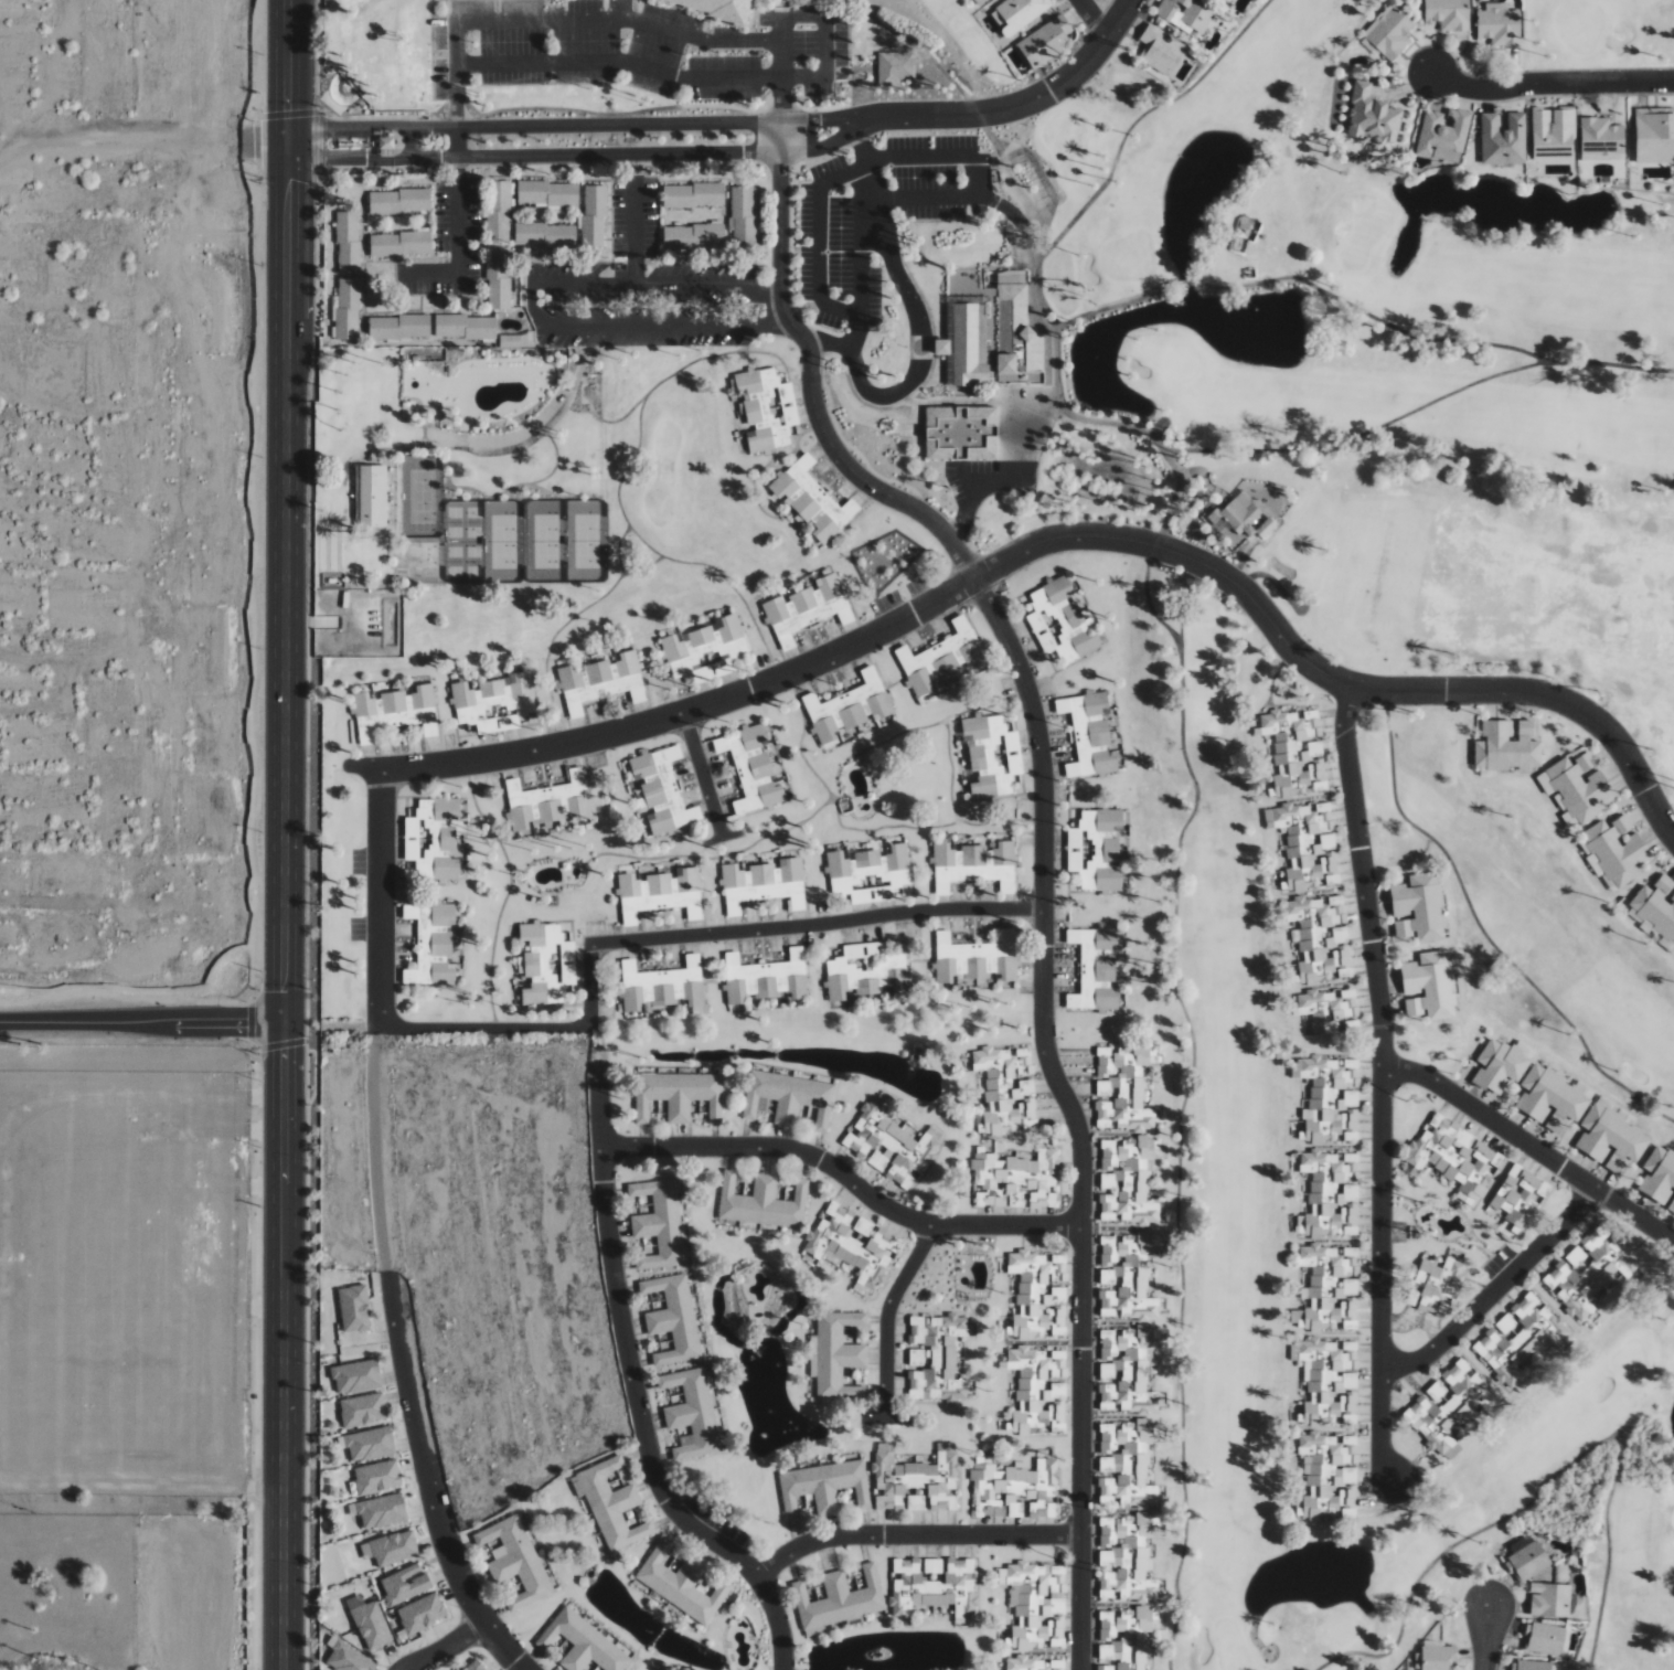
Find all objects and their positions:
building: (980, 1)
building: (1225, 2)
building: (719, 9)
building: (1017, 13)
building: (1448, 13)
building: (1186, 14)
road: (1092, 18)
road: (620, 19)
building: (1499, 24)
road: (825, 28)
building: (1390, 33)
park: (1597, 33)
building: (1046, 41)
parking lot: (635, 47)
road: (921, 49)
building: (1161, 49)
road: (641, 67)
building: (894, 67)
road: (782, 70)
road: (288, 78)
road: (1550, 83)
fountain: (346, 87)
road: (1034, 99)
traffic signals: (288, 108)
building: (1372, 116)
road: (838, 117)
road: (1140, 118)
road: (769, 123)
road: (556, 126)
road: (323, 130)
traffic signals: (326, 130)
building: (1443, 130)
building: (384, 134)
road: (392, 134)
building: (1553, 134)
building: (1654, 135)
road: (839, 139)
building: (1503, 139)
flagpole: (355, 140)
building: (384, 143)
flagpole: (355, 145)
road: (457, 148)
flagpole: (355, 149)
road: (769, 152)
building: (384, 153)
road: (393, 153)
road: (557, 155)
road: (934, 156)
road: (323, 158)
road: (288, 168)
road: (851, 171)
road: (982, 175)
traffic signals: (288, 179)
fountain: (1208, 180)
building: (498, 189)
building: (523, 192)
building: (539, 192)
building: (593, 193)
building: (700, 194)
building: (714, 194)
building: (742, 194)
building: (554, 195)
building: (569, 195)
building: (669, 198)
building: (684, 198)
building: (406, 200)
building: (420, 200)
building: (375, 203)
building: (391, 203)
building: (498, 205)
building: (593, 210)
building: (742, 210)
fountain: (1554, 214)
road: (1014, 215)
building: (345, 219)
road: (636, 219)
building: (495, 221)
road: (863, 221)
building: (591, 225)
building: (744, 225)
building: (345, 234)
building: (521, 234)
building: (536, 234)
building: (495, 236)
building: (552, 236)
building: (566, 236)
building: (700, 236)
building: (715, 236)
building: (670, 238)
building: (685, 238)
building: (591, 241)
building: (744, 241)
road: (818, 242)
building: (406, 244)
building: (422, 244)
building: (376, 246)
building: (392, 246)
building: (348, 249)
building: (495, 256)
building: (348, 266)
building: (495, 272)
road: (429, 273)
road: (1186, 283)
road: (657, 284)
building: (348, 286)
building: (498, 287)
building: (348, 302)
building: (498, 302)
road: (532, 306)
road: (1117, 307)
road: (836, 308)
road: (1372, 316)
building: (345, 318)
road: (916, 322)
building: (441, 326)
building: (456, 326)
road: (665, 326)
building: (405, 327)
building: (420, 327)
fountain: (1259, 327)
building: (375, 329)
building: (391, 329)
building: (471, 329)
building: (487, 329)
building: (345, 333)
building: (1020, 334)
building: (508, 341)
road: (1057, 361)
road: (1612, 365)
fountain: (1095, 373)
road: (797, 390)
building: (767, 408)
road: (799, 414)
road: (1155, 428)
building: (961, 433)
road: (1363, 437)
road: (815, 454)
road: (829, 462)
road: (843, 479)
road: (1001, 482)
building: (370, 496)
park: (423, 497)
building: (812, 499)
road: (859, 500)
building: (1235, 517)
building: (1264, 529)
park: (545, 541)
park: (587, 541)
park: (465, 542)
park: (503, 542)
road: (287, 602)
building: (807, 608)
building: (1063, 623)
road: (1270, 624)
building: (705, 650)
building: (941, 659)
building: (601, 681)
road: (769, 681)
building: (493, 702)
road: (1563, 703)
building: (850, 706)
building: (395, 712)
building: (1089, 734)
building: (1507, 746)
building: (1294, 752)
building: (991, 755)
building: (751, 767)
road: (703, 775)
building: (1580, 787)
building: (662, 789)
building: (548, 800)
building: (433, 839)
road: (723, 839)
park: (1453, 839)
building: (1307, 844)
building: (1617, 849)
road: (1044, 852)
building: (974, 865)
building: (870, 873)
building: (764, 884)
building: (660, 893)
road: (381, 902)
building: (1656, 906)
building: (1419, 907)
road: (818, 925)
road: (1484, 932)
building: (1320, 938)
building: (434, 944)
building: (975, 958)
building: (546, 965)
building: (1095, 968)
building: (867, 972)
road: (591, 986)
building: (664, 986)
building: (1429, 986)
traffic signals: (287, 992)
building: (1330, 1011)
road: (142, 1023)
traffic signals: (255, 1025)
road: (482, 1028)
traffic signals: (287, 1052)
fountain: (918, 1053)
fountain: (655, 1056)
building: (1500, 1065)
road: (1382, 1085)
building: (1007, 1088)
building: (1122, 1088)
building: (1585, 1088)
building: (679, 1095)
building: (1330, 1097)
building: (789, 1098)
road: (1185, 1098)
building: (1550, 1098)
building: (1608, 1103)
building: (1611, 1139)
building: (891, 1145)
road: (1532, 1147)
building: (1453, 1156)
road: (845, 1177)
building: (1659, 1178)
building: (1015, 1179)
building: (1330, 1195)
building: (1464, 1198)
building: (1517, 1199)
building: (763, 1202)
building: (659, 1223)
building: (853, 1245)
building: (1592, 1272)
building: (1127, 1277)
building: (1437, 1286)
building: (1329, 1289)
road: (1494, 1290)
building: (1039, 1295)
fountain: (790, 1307)
building: (354, 1308)
fountain: (726, 1315)
road: (888, 1317)
building: (673, 1318)
building: (1522, 1340)
road: (286, 1347)
building: (838, 1355)
building: (937, 1358)
building: (1127, 1371)
building: (356, 1376)
building: (1329, 1380)
building: (1038, 1390)
road: (637, 1402)
building: (1452, 1405)
building: (363, 1410)
building: (692, 1413)
road: (886, 1418)
fountain: (770, 1421)
fountain: (809, 1429)
building: (369, 1444)
building: (1127, 1464)
building: (1329, 1475)
road: (1556, 1475)
building: (377, 1477)
building: (915, 1478)
road: (428, 1481)
building: (823, 1487)
building: (1016, 1490)
building: (916, 1502)
building: (612, 1506)
building: (380, 1511)
road: (914, 1535)
building: (391, 1549)
building: (1127, 1557)
building: (1526, 1559)
building: (515, 1560)
building: (932, 1565)
fountain: (589, 1575)
building: (681, 1583)
building: (405, 1584)
building: (935, 1587)
building: (1550, 1599)
building: (839, 1600)
building: (1036, 1603)
building: (422, 1614)
building: (370, 1623)
building: (1127, 1637)
road: (1485, 1638)
building: (1545, 1638)
building: (583, 1644)
road: (447, 1647)
fountain: (1269, 1655)
fountain: (875, 1656)
building: (1439, 1658)
building: (348, 1659)
building: (1034, 1663)
building: (475, 1664)
building: (1535, 1666)

